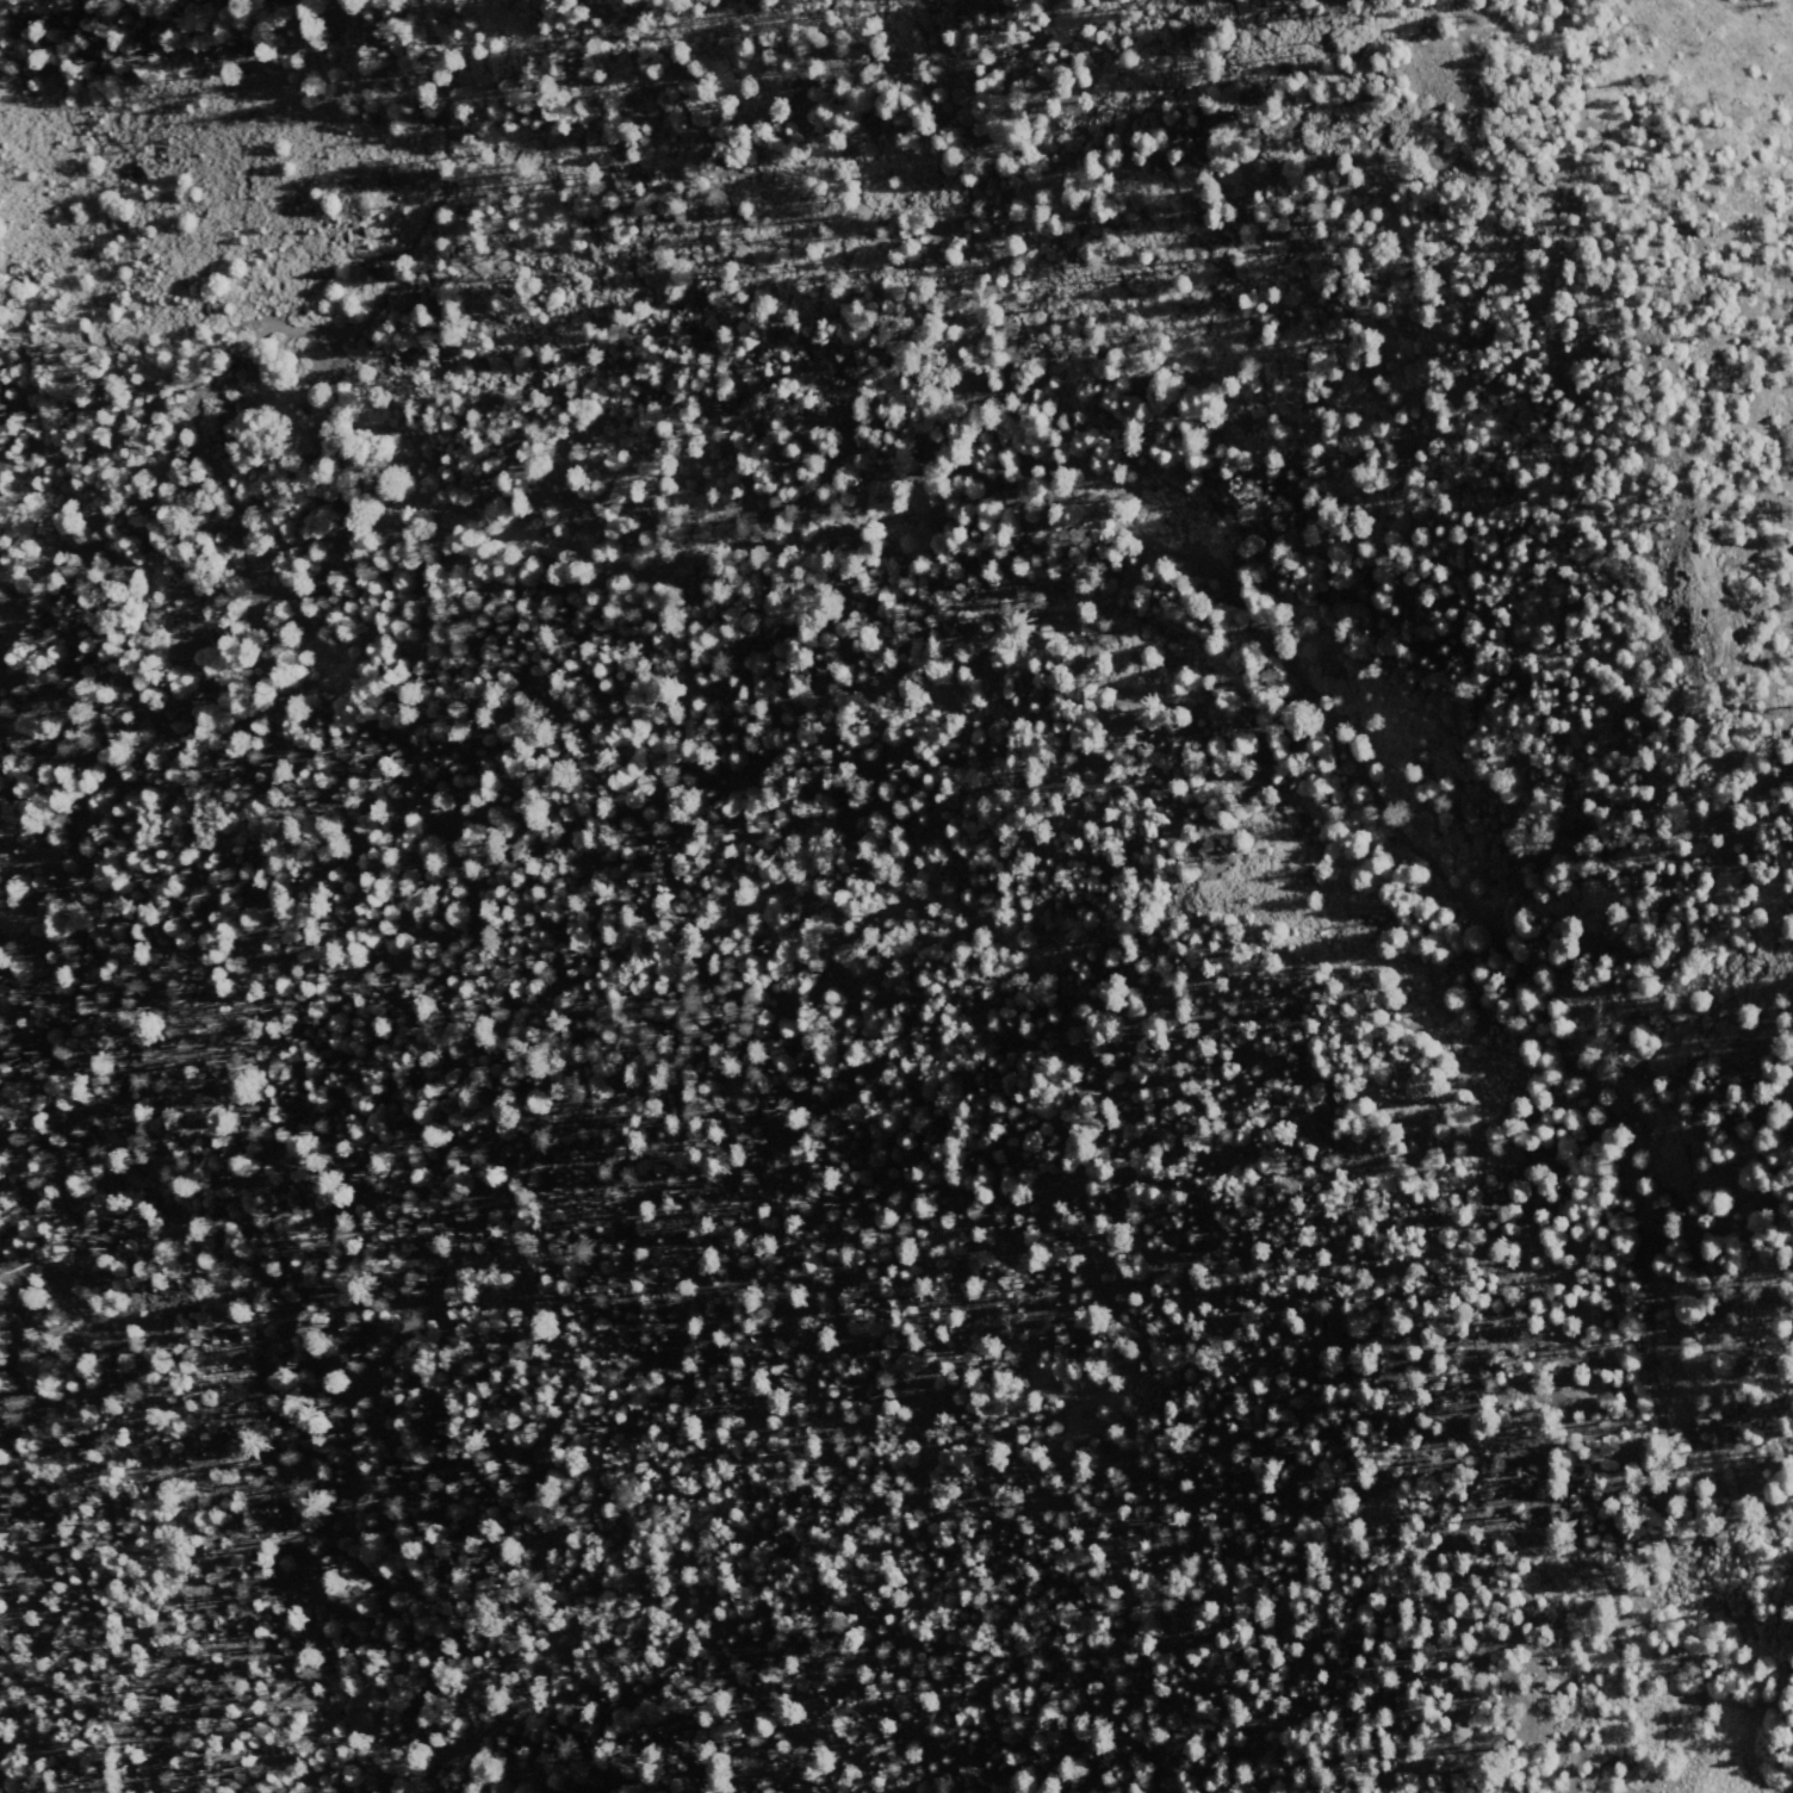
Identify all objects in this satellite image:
road: (1681, 1400)

